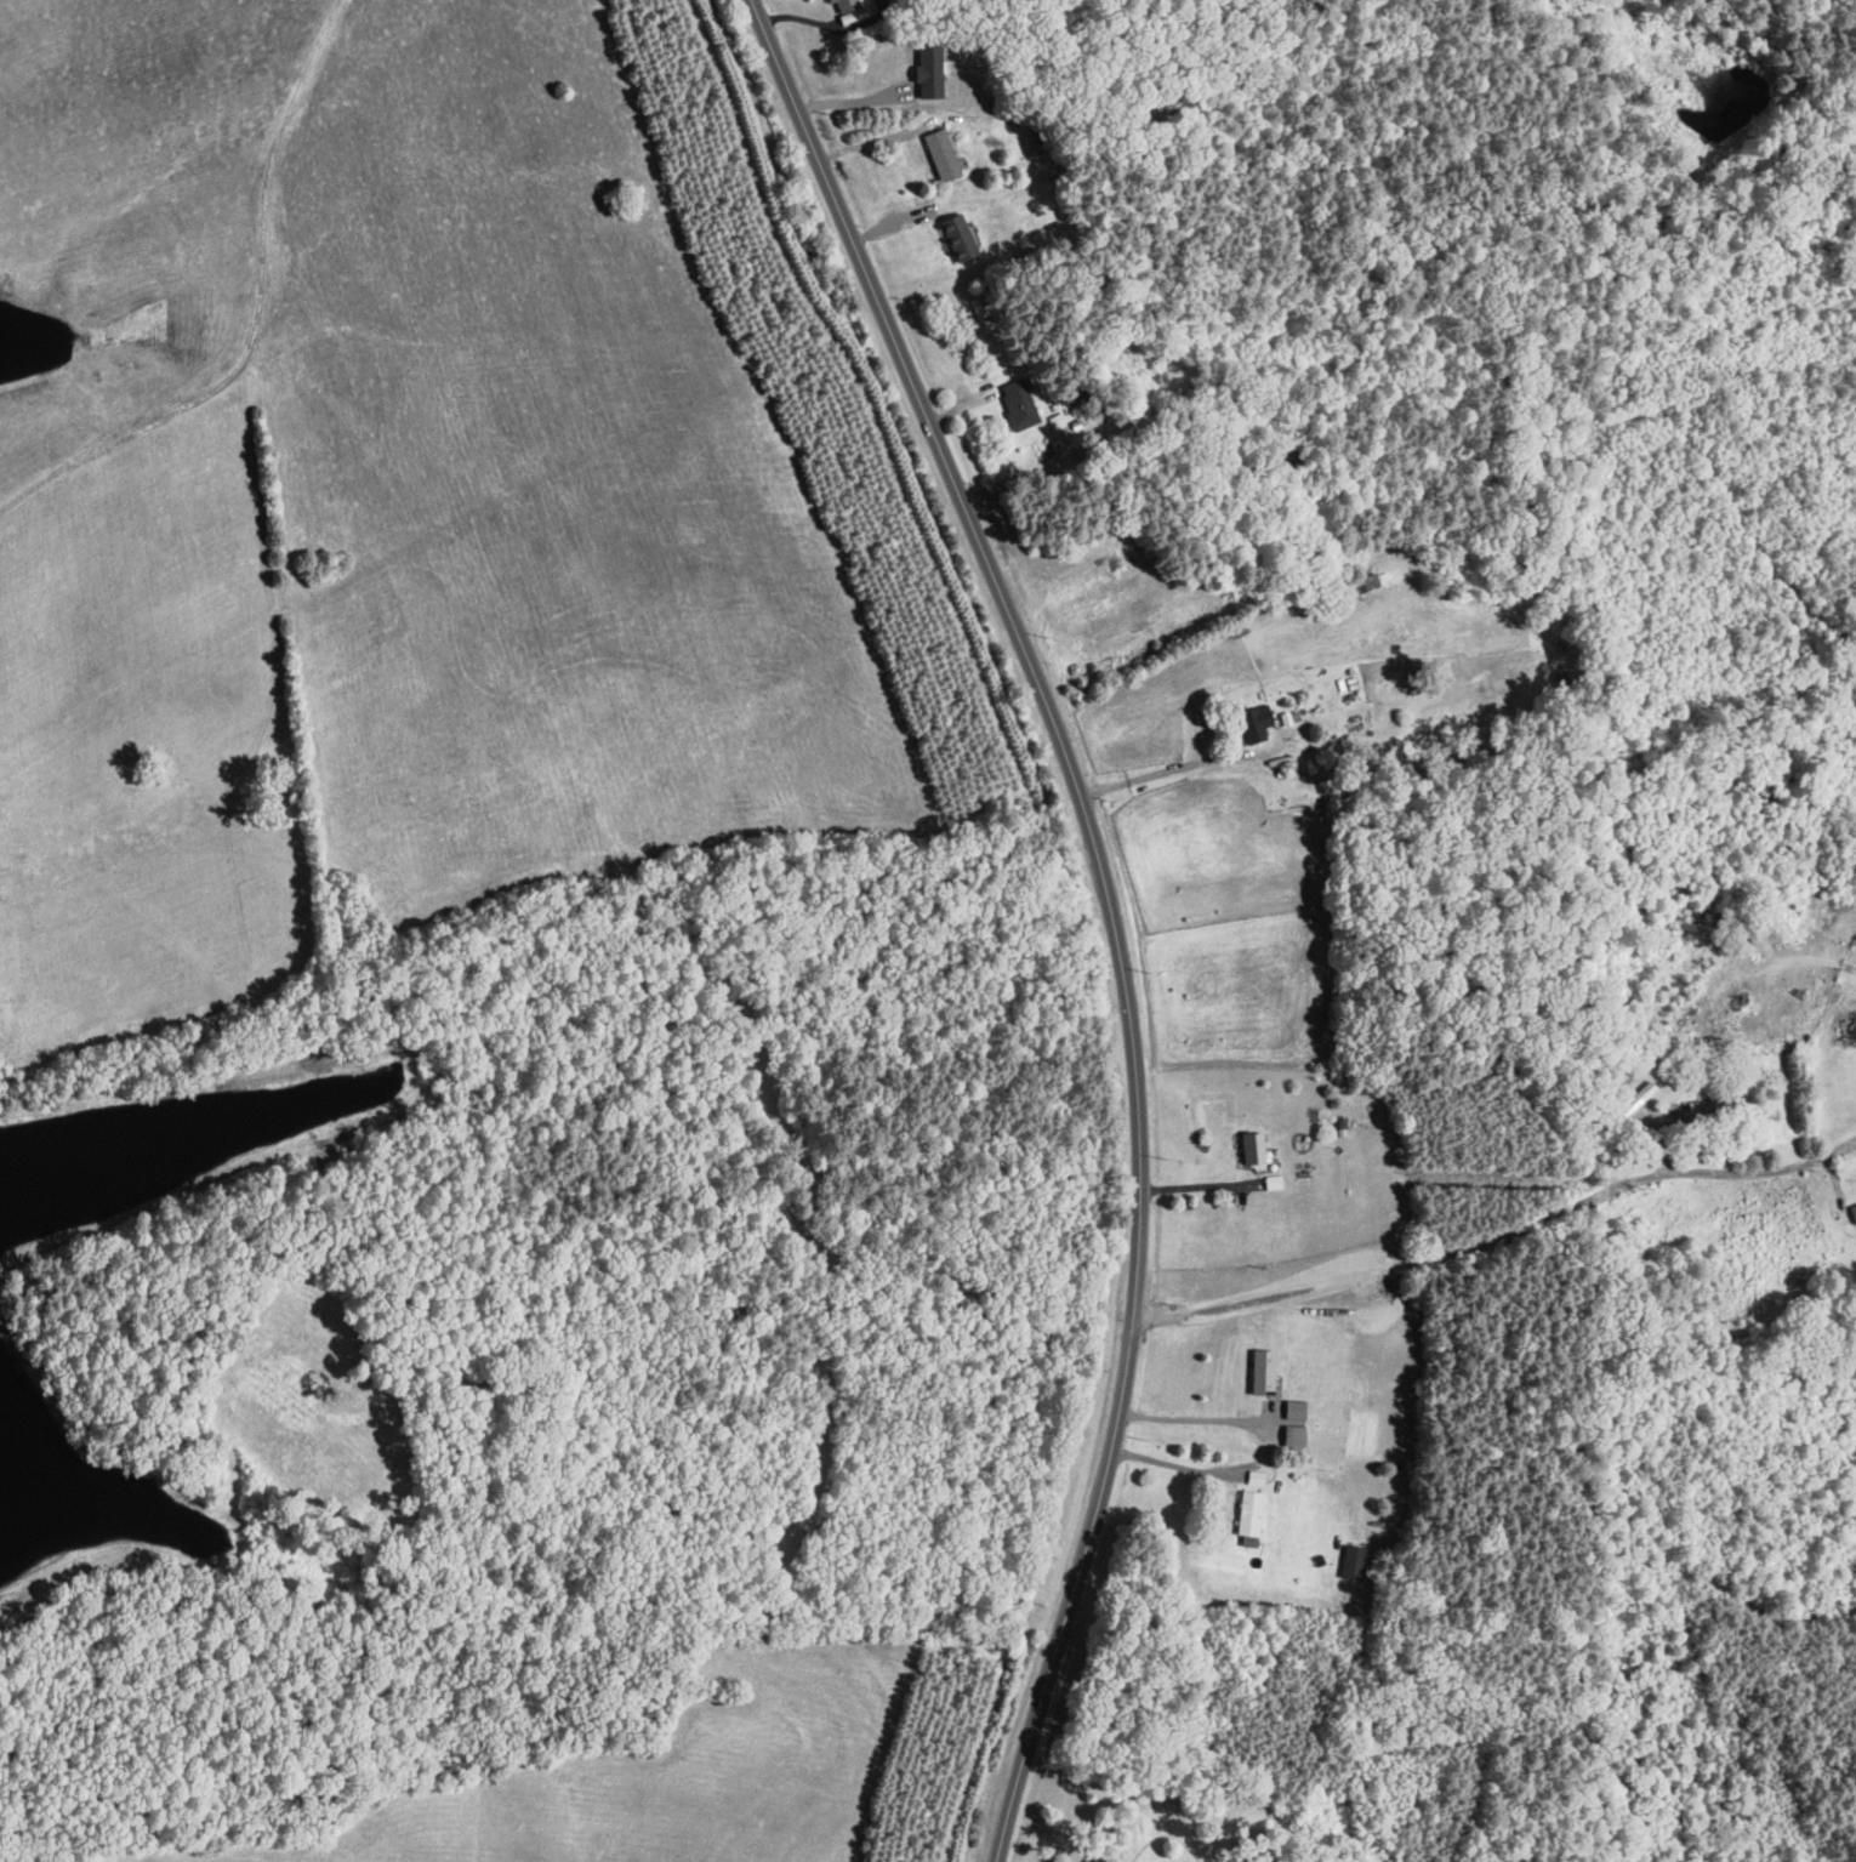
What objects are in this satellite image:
building: (847, 6)
building: (943, 156)
building: (958, 239)
road: (1091, 269)
building: (984, 307)
building: (1142, 376)
building: (1018, 406)
building: (1367, 585)
building: (1340, 693)
building: (1256, 725)
road: (1122, 906)
building: (1848, 1030)
building: (1713, 1105)
building: (1632, 1107)
building: (1254, 1150)
road: (1197, 1179)
building: (1854, 1213)
road: (1498, 1220)
building: (1632, 1246)
building: (1263, 1376)
road: (1191, 1419)
building: (1294, 1439)
building: (1249, 1520)
building: (1354, 1562)

